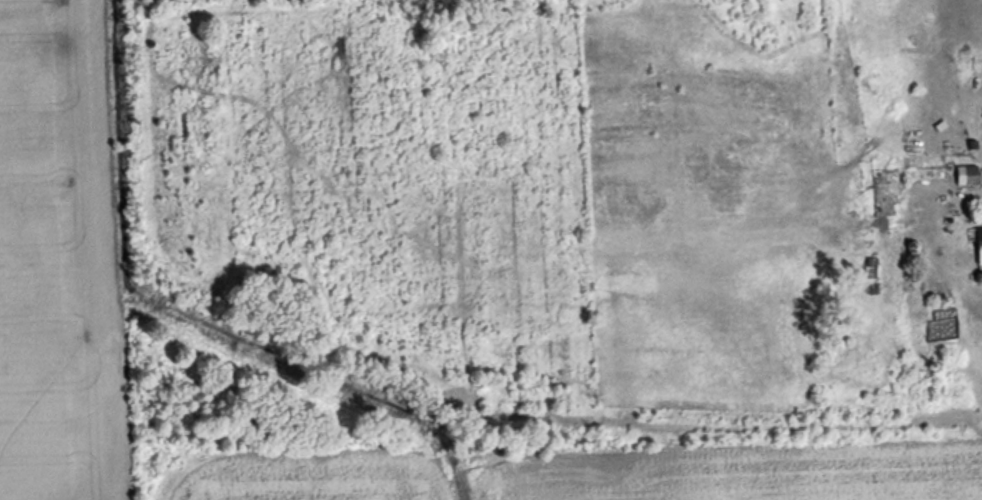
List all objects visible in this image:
building: (970, 176)
building: (891, 194)
building: (981, 246)

